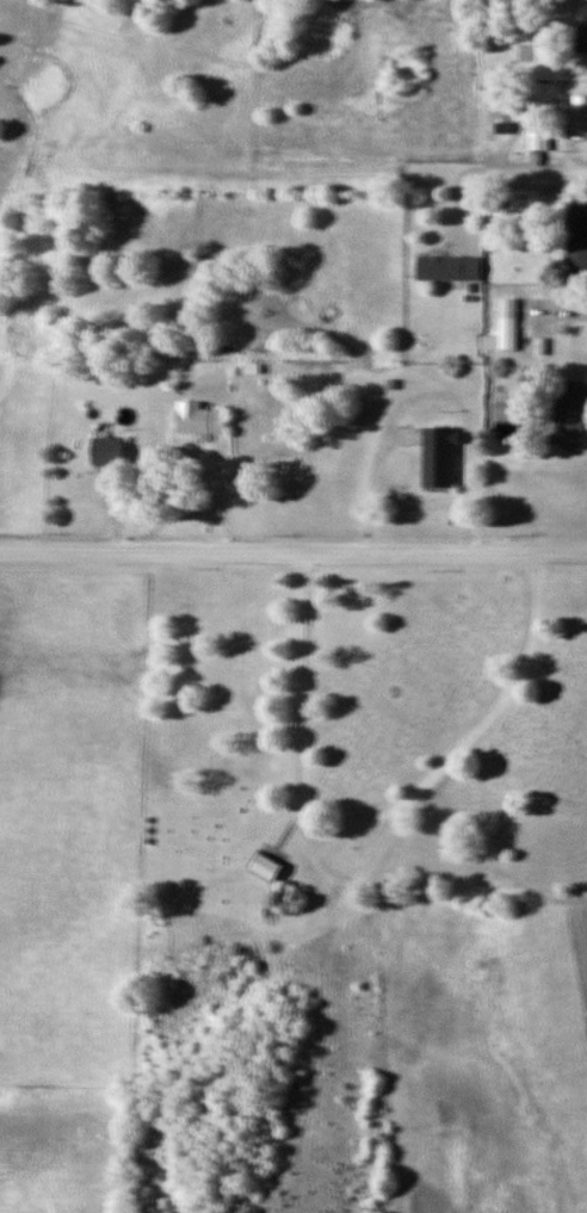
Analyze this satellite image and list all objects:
building: (581, 30)
building: (580, 117)
building: (538, 137)
building: (576, 239)
building: (449, 268)
building: (508, 323)
building: (509, 407)
building: (574, 408)
building: (200, 419)
building: (109, 450)
building: (440, 457)
road: (292, 552)
park: (367, 735)
road: (364, 823)
building: (266, 868)

